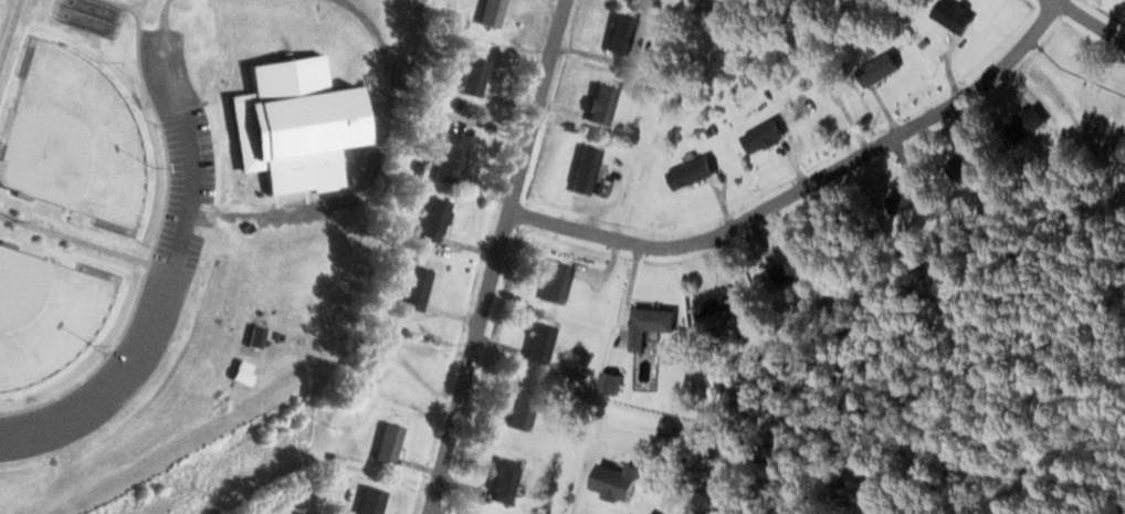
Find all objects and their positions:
road: (165, 12)
building: (495, 12)
building: (956, 17)
road: (1092, 17)
road: (10, 32)
building: (625, 33)
road: (404, 52)
building: (881, 70)
building: (479, 76)
building: (826, 101)
building: (606, 104)
building: (1029, 123)
building: (293, 124)
building: (767, 136)
park: (75, 138)
building: (1122, 145)
building: (454, 157)
building: (971, 160)
building: (590, 169)
building: (695, 172)
road: (369, 175)
road: (807, 182)
building: (439, 220)
park: (182, 221)
road: (158, 233)
road: (74, 239)
parking lot: (180, 243)
road: (496, 256)
building: (796, 268)
road: (172, 273)
building: (560, 282)
building: (420, 290)
building: (721, 302)
park: (45, 315)
building: (653, 324)
building: (261, 334)
building: (545, 343)
building: (616, 384)
building: (526, 410)
building: (392, 443)
building: (508, 481)
building: (617, 481)
building: (376, 501)

